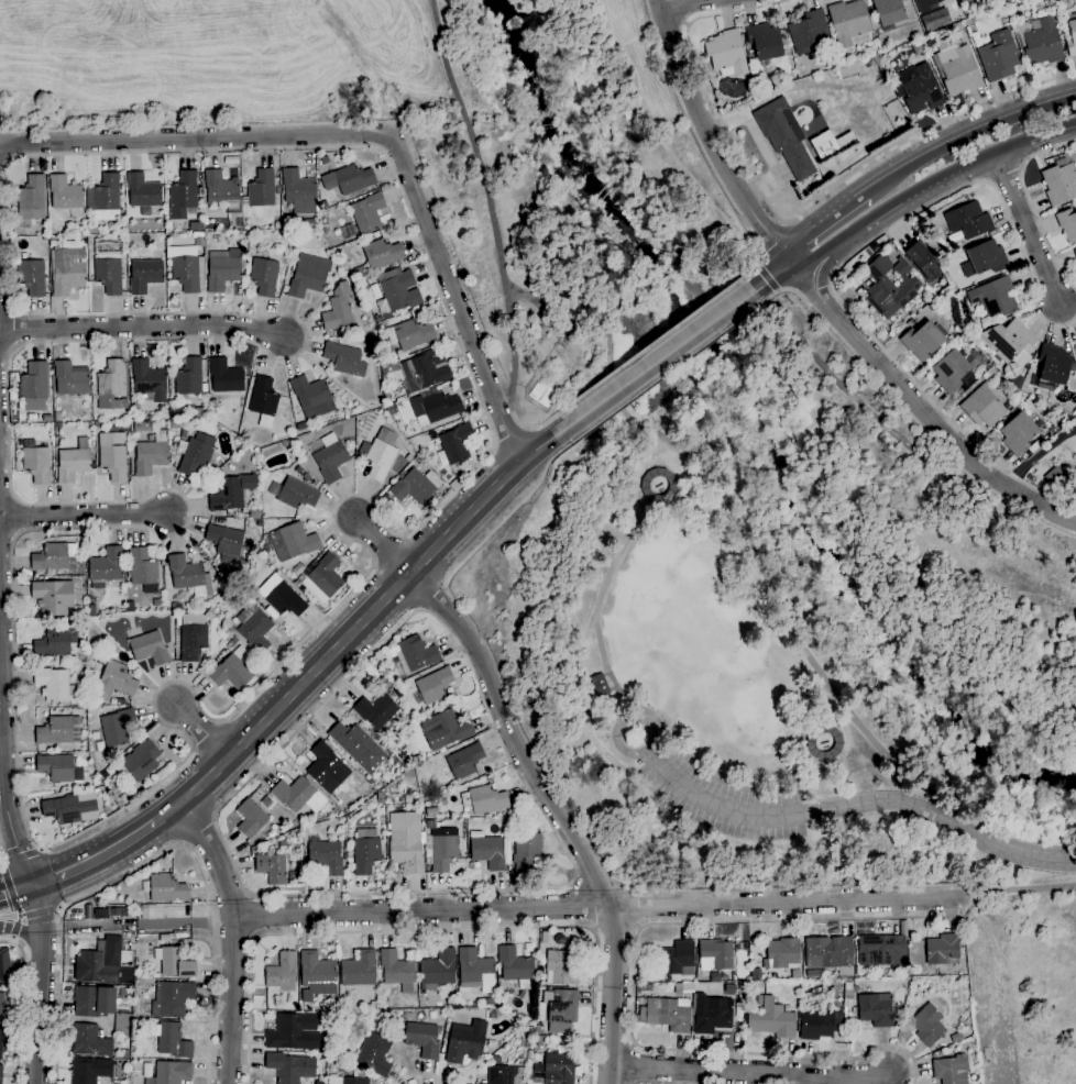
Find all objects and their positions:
building: (1003, 1)
road: (673, 3)
building: (932, 4)
building: (1048, 5)
road: (680, 11)
building: (889, 12)
building: (847, 22)
road: (685, 24)
building: (809, 32)
building: (1072, 35)
building: (765, 41)
building: (1040, 42)
building: (916, 48)
building: (726, 54)
building: (999, 56)
building: (849, 70)
building: (956, 70)
building: (919, 89)
road: (966, 133)
road: (371, 134)
building: (886, 136)
building: (784, 137)
road: (706, 139)
building: (830, 144)
building: (325, 161)
building: (348, 179)
building: (1059, 182)
road: (925, 188)
building: (261, 189)
building: (143, 191)
building: (221, 191)
building: (299, 192)
building: (65, 193)
building: (183, 196)
building: (105, 199)
building: (31, 201)
road: (1030, 204)
building: (322, 206)
building: (367, 212)
road: (790, 220)
building: (967, 221)
road: (820, 222)
road: (783, 224)
building: (1067, 224)
building: (277, 225)
building: (196, 228)
road: (1026, 229)
building: (198, 242)
road: (773, 242)
building: (1074, 251)
road: (805, 252)
building: (382, 254)
road: (762, 257)
building: (987, 258)
building: (922, 261)
road: (760, 262)
building: (942, 263)
building: (339, 266)
road: (758, 266)
road: (841, 266)
building: (185, 268)
building: (347, 270)
building: (67, 272)
building: (360, 272)
building: (109, 274)
building: (222, 274)
building: (144, 276)
building: (308, 276)
building: (31, 277)
building: (264, 277)
road: (768, 278)
road: (831, 278)
road: (765, 279)
building: (364, 285)
building: (890, 287)
road: (817, 288)
road: (778, 291)
road: (782, 291)
building: (399, 292)
building: (995, 298)
road: (803, 299)
building: (338, 309)
building: (377, 319)
building: (916, 319)
road: (142, 328)
building: (340, 334)
building: (413, 334)
building: (923, 340)
road: (652, 343)
building: (1007, 343)
road: (513, 351)
building: (1074, 356)
building: (343, 360)
road: (656, 361)
building: (1053, 365)
building: (958, 370)
building: (419, 372)
building: (226, 376)
road: (659, 378)
building: (69, 379)
building: (149, 380)
building: (188, 380)
building: (34, 381)
building: (111, 387)
building: (541, 394)
building: (264, 397)
building: (387, 397)
building: (311, 398)
building: (204, 401)
building: (213, 403)
building: (982, 406)
building: (436, 407)
road: (920, 408)
building: (392, 410)
building: (201, 412)
building: (176, 413)
building: (57, 417)
river: (770, 420)
building: (264, 421)
building: (1064, 421)
building: (98, 424)
building: (141, 427)
road: (537, 427)
road: (659, 433)
building: (183, 434)
road: (507, 434)
building: (1019, 435)
road: (542, 443)
building: (457, 444)
building: (112, 454)
road: (1040, 454)
building: (151, 455)
building: (381, 455)
building: (196, 456)
building: (330, 458)
building: (74, 462)
building: (36, 465)
building: (1053, 476)
building: (416, 486)
building: (672, 486)
building: (231, 493)
building: (294, 494)
road: (84, 515)
road: (504, 517)
road: (406, 533)
building: (298, 541)
building: (228, 544)
road: (382, 544)
building: (53, 556)
building: (106, 567)
building: (143, 571)
building: (187, 576)
building: (322, 578)
road: (606, 582)
road: (430, 595)
building: (53, 597)
building: (282, 597)
building: (156, 602)
road: (419, 609)
building: (272, 613)
building: (209, 616)
building: (254, 629)
building: (193, 638)
building: (56, 641)
building: (233, 642)
road: (340, 643)
building: (149, 649)
building: (416, 654)
building: (212, 657)
park: (808, 663)
building: (234, 670)
building: (90, 675)
building: (114, 682)
building: (53, 685)
building: (597, 685)
building: (432, 687)
building: (120, 703)
building: (375, 711)
building: (117, 728)
building: (444, 729)
road: (201, 730)
building: (58, 731)
building: (822, 742)
building: (358, 746)
building: (141, 761)
building: (464, 761)
building: (58, 768)
building: (327, 768)
road: (3, 778)
building: (95, 782)
building: (364, 787)
building: (298, 795)
building: (380, 798)
building: (486, 799)
road: (535, 801)
parking lot: (723, 803)
road: (846, 807)
building: (68, 810)
building: (336, 810)
building: (431, 812)
road: (560, 812)
building: (250, 818)
building: (430, 826)
road: (198, 831)
building: (405, 841)
building: (282, 843)
building: (443, 851)
road: (2, 852)
building: (526, 852)
building: (490, 853)
building: (365, 855)
road: (20, 856)
building: (345, 856)
building: (326, 858)
road: (94, 859)
road: (152, 860)
building: (272, 869)
building: (293, 877)
road: (50, 878)
building: (164, 888)
road: (1014, 888)
road: (14, 893)
road: (14, 904)
road: (34, 907)
road: (595, 907)
road: (39, 912)
road: (948, 916)
road: (253, 917)
road: (211, 922)
road: (166, 925)
road: (94, 926)
road: (53, 927)
road: (428, 930)
road: (616, 930)
road: (233, 937)
road: (31, 945)
building: (942, 950)
building: (828, 952)
building: (882, 952)
building: (782, 954)
building: (715, 955)
building: (678, 959)
building: (175, 963)
building: (103, 965)
building: (515, 967)
building: (561, 967)
building: (2, 969)
building: (359, 970)
building: (438, 970)
building: (397, 971)
building: (475, 971)
building: (317, 974)
building: (281, 975)
building: (155, 976)
building: (742, 985)
building: (1, 987)
road: (633, 987)
building: (683, 988)
building: (914, 988)
building: (122, 994)
building: (828, 994)
building: (847, 995)
building: (172, 999)
building: (758, 1000)
building: (94, 1002)
building: (487, 1002)
road: (20, 1003)
building: (501, 1004)
road: (40, 1005)
building: (373, 1005)
building: (561, 1006)
building: (1, 1007)
building: (876, 1009)
building: (712, 1014)
building: (668, 1015)
building: (378, 1017)
building: (772, 1020)
building: (122, 1025)
building: (815, 1025)
building: (927, 1025)
building: (539, 1030)
building: (293, 1032)
building: (422, 1039)
building: (171, 1040)
building: (538, 1040)
building: (89, 1041)
building: (464, 1044)
building: (0, 1046)
building: (124, 1054)
building: (374, 1055)
building: (289, 1068)
building: (553, 1070)
building: (951, 1070)
building: (90, 1071)
road: (750, 1071)
building: (0, 1073)
building: (167, 1073)
building: (505, 1075)
road: (425, 1077)
building: (353, 1081)

